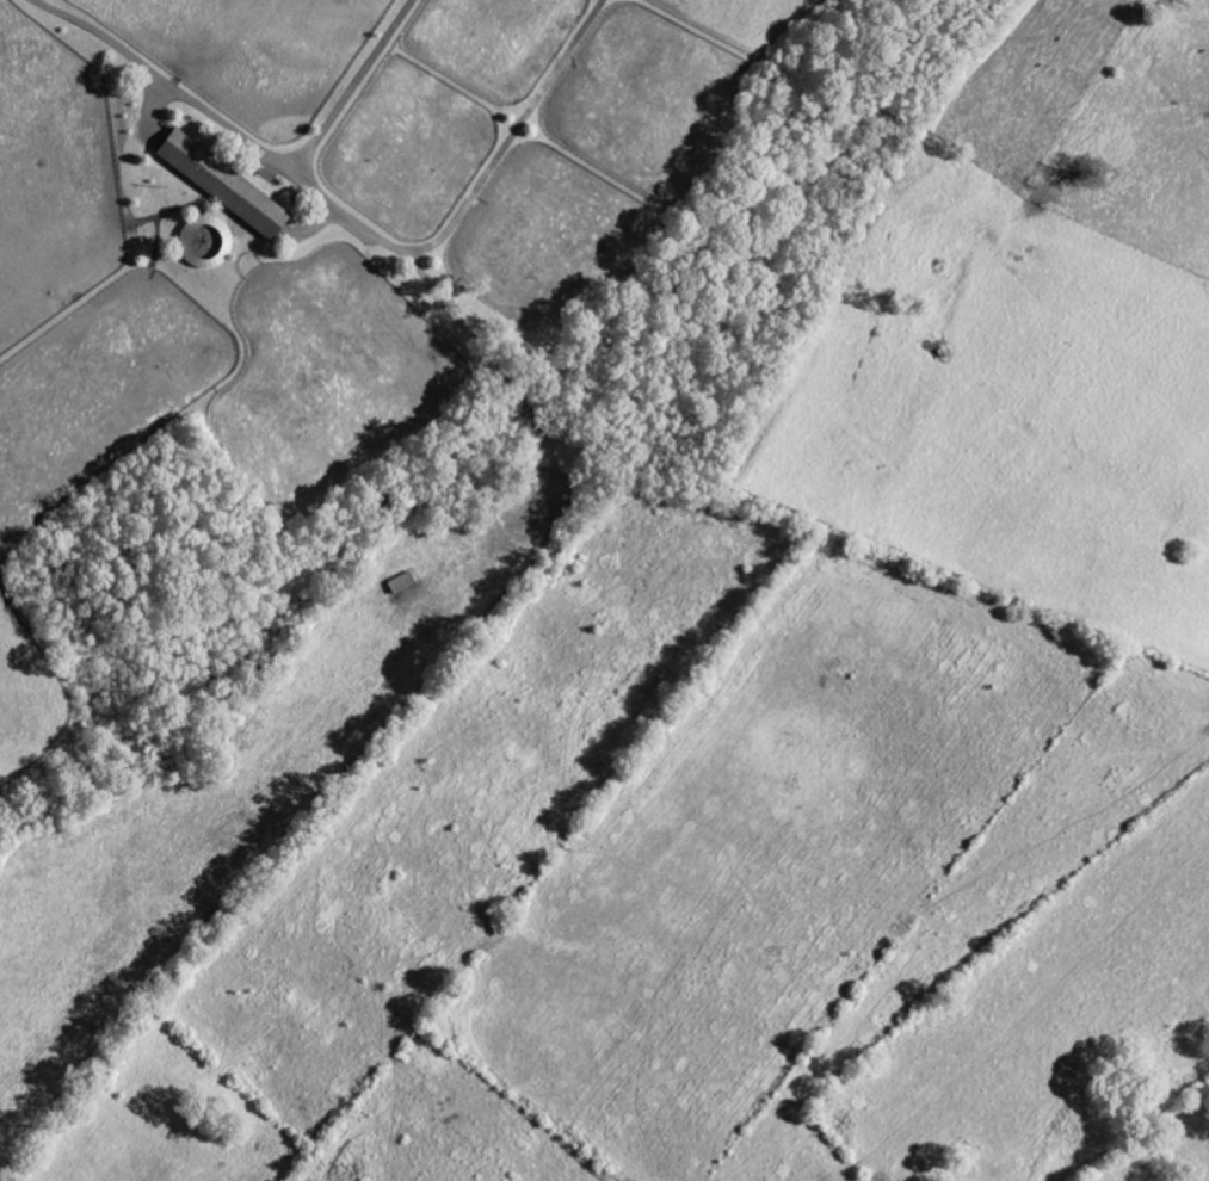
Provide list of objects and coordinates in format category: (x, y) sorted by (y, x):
road: (175, 104)
building: (397, 582)

